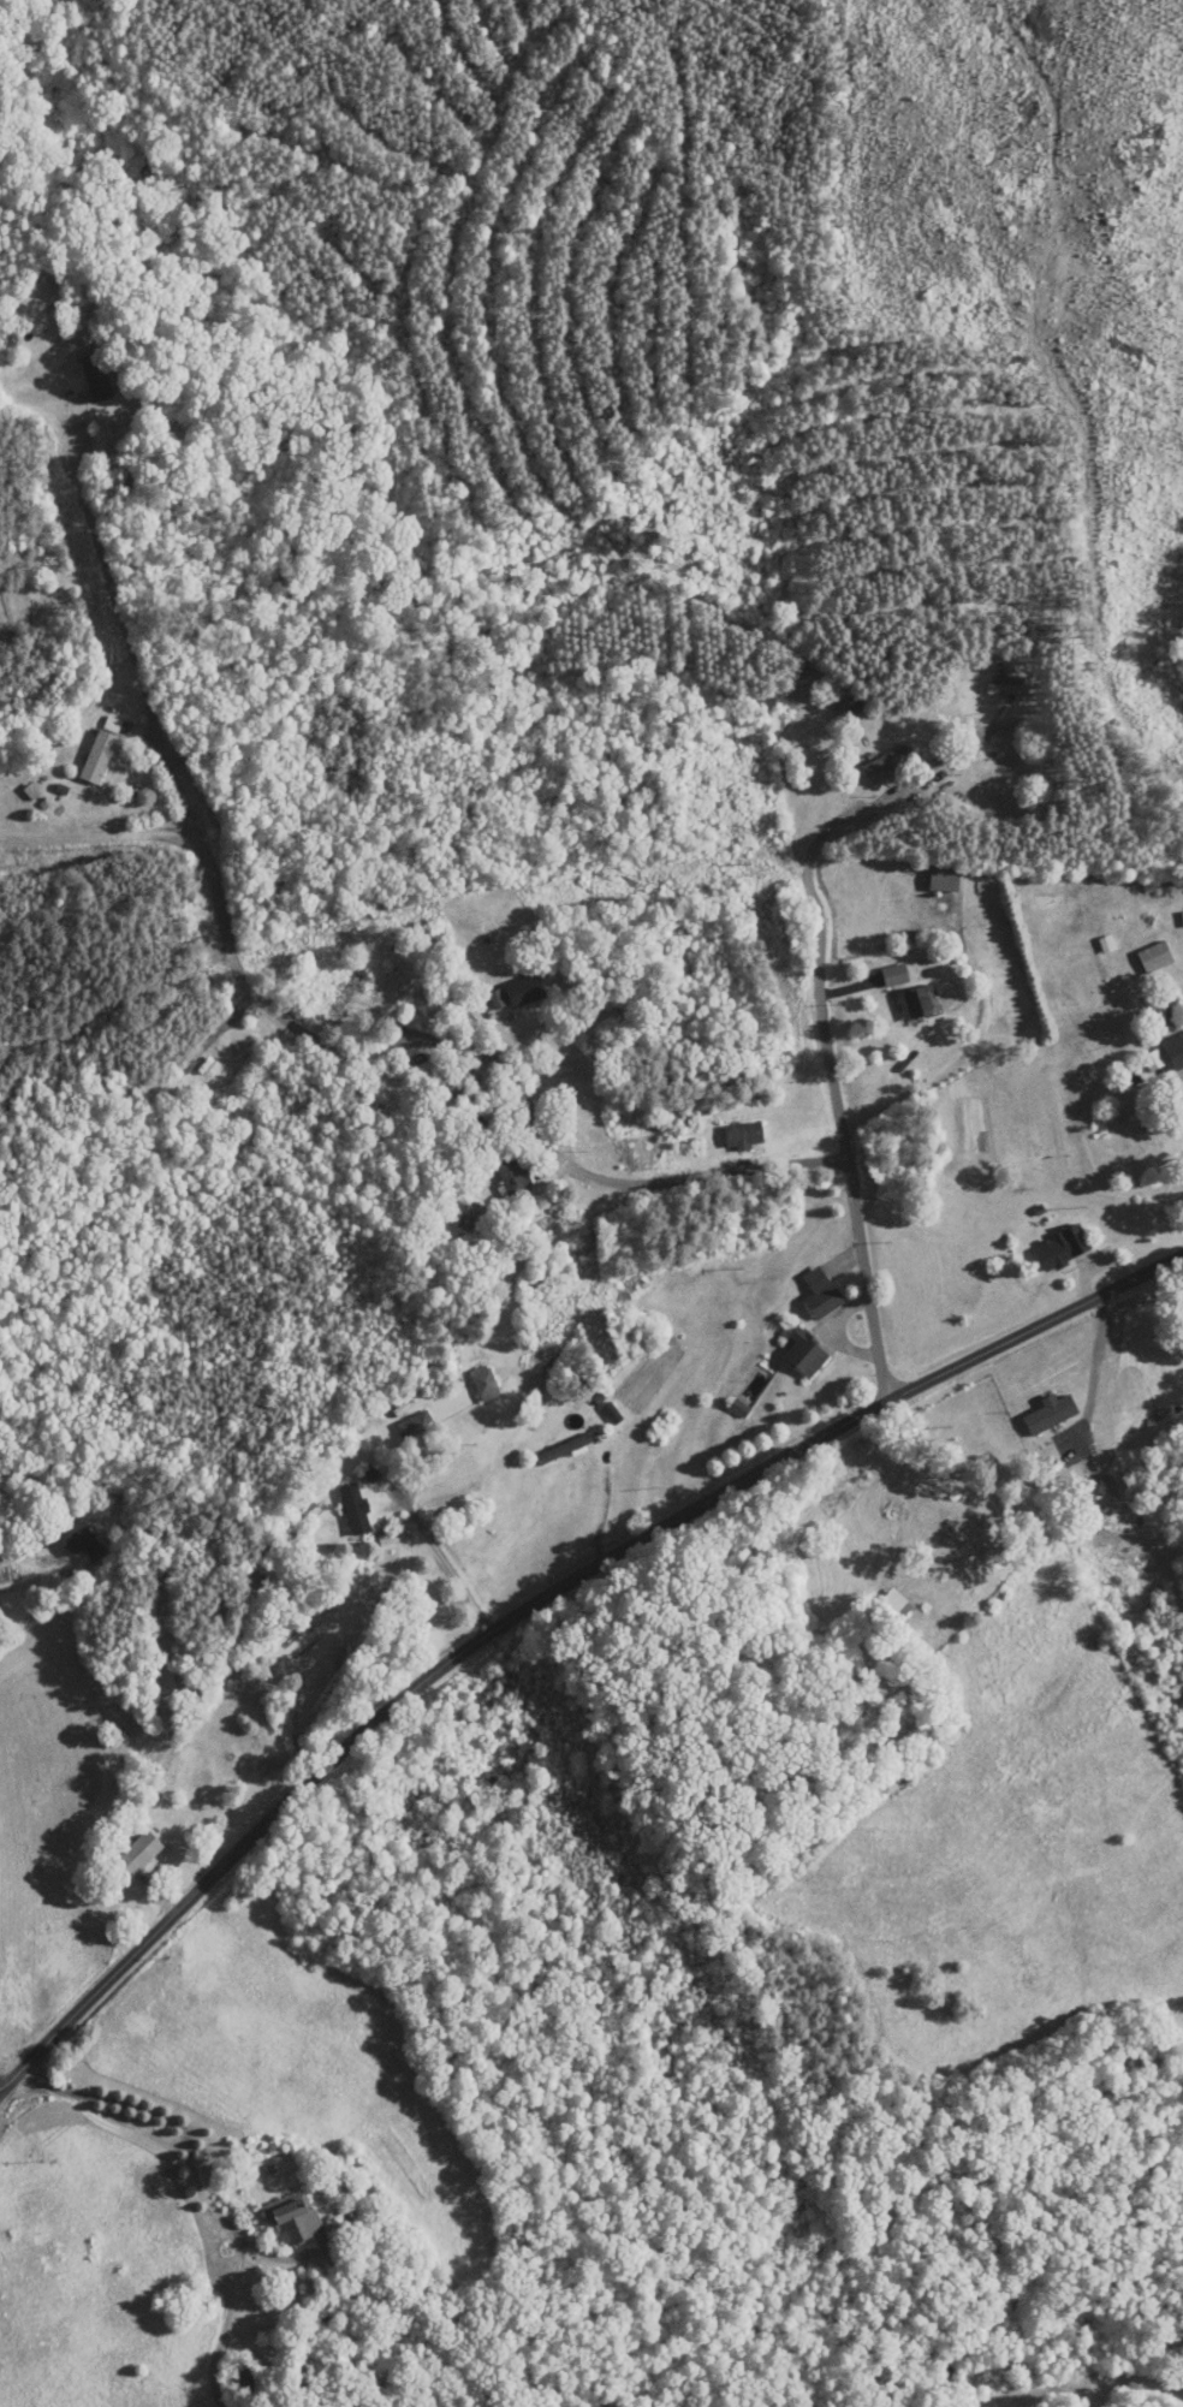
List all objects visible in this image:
building: (96, 378)
road: (118, 573)
building: (1009, 690)
building: (99, 757)
building: (885, 761)
road: (863, 814)
road: (100, 831)
building: (944, 876)
building: (952, 943)
building: (1155, 957)
building: (894, 975)
building: (334, 986)
building: (525, 991)
road: (275, 1004)
building: (916, 1004)
building: (1175, 1051)
building: (206, 1065)
building: (744, 1136)
road: (850, 1152)
building: (513, 1176)
road: (604, 1177)
building: (1054, 1254)
building: (821, 1294)
building: (805, 1355)
building: (485, 1384)
building: (417, 1428)
building: (564, 1456)
building: (1101, 1492)
building: (356, 1509)
building: (964, 1535)
building: (83, 1545)
road: (59, 1555)
road: (447, 1565)
road: (540, 1599)
building: (139, 1854)
road: (174, 2118)
building: (293, 2218)
road: (227, 2322)
building: (250, 2382)

